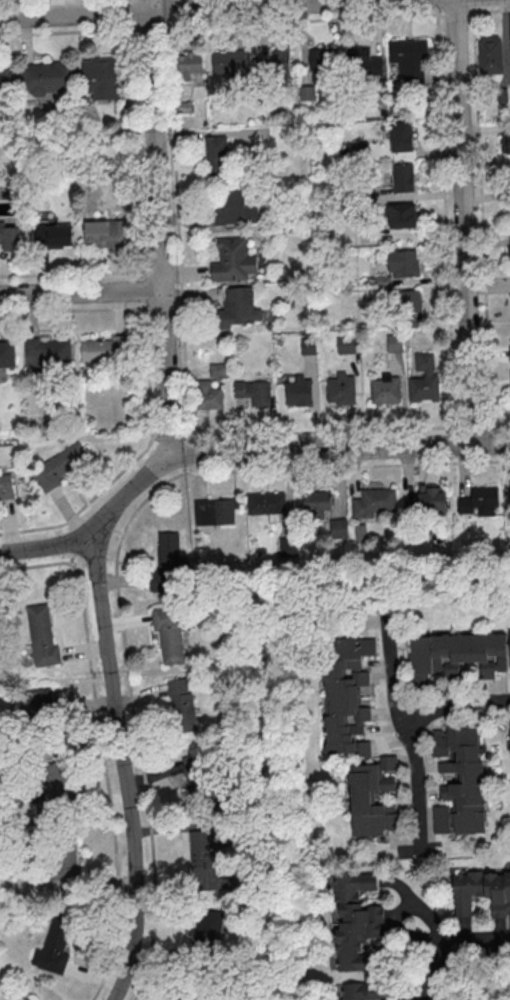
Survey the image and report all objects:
road: (161, 7)
road: (491, 10)
road: (83, 31)
building: (410, 54)
building: (490, 54)
building: (189, 63)
building: (318, 65)
building: (99, 77)
building: (400, 136)
building: (505, 142)
building: (216, 153)
building: (403, 177)
building: (231, 206)
road: (480, 212)
road: (443, 213)
building: (401, 215)
road: (175, 218)
road: (462, 221)
road: (160, 228)
building: (103, 234)
building: (10, 235)
building: (58, 235)
building: (509, 252)
building: (233, 260)
building: (402, 262)
road: (82, 289)
building: (410, 302)
building: (237, 308)
building: (394, 342)
building: (347, 344)
building: (308, 347)
building: (105, 350)
building: (45, 351)
building: (7, 353)
building: (218, 369)
building: (340, 388)
building: (424, 388)
building: (384, 390)
building: (254, 392)
building: (297, 392)
building: (209, 395)
road: (348, 430)
road: (237, 452)
building: (59, 465)
road: (346, 466)
building: (5, 486)
building: (476, 498)
building: (509, 498)
building: (316, 501)
building: (372, 502)
building: (264, 503)
building: (425, 503)
building: (212, 509)
building: (339, 527)
building: (288, 549)
building: (168, 563)
building: (169, 633)
building: (42, 635)
building: (509, 644)
building: (455, 655)
building: (346, 695)
building: (40, 703)
building: (183, 704)
road: (456, 705)
building: (509, 723)
road: (409, 730)
building: (509, 735)
road: (123, 768)
building: (196, 776)
building: (458, 780)
building: (372, 797)
building: (211, 860)
building: (481, 890)
building: (356, 921)
building: (206, 927)
road: (424, 929)
building: (54, 946)
road: (448, 946)
building: (363, 990)
building: (179, 995)
building: (29, 998)

